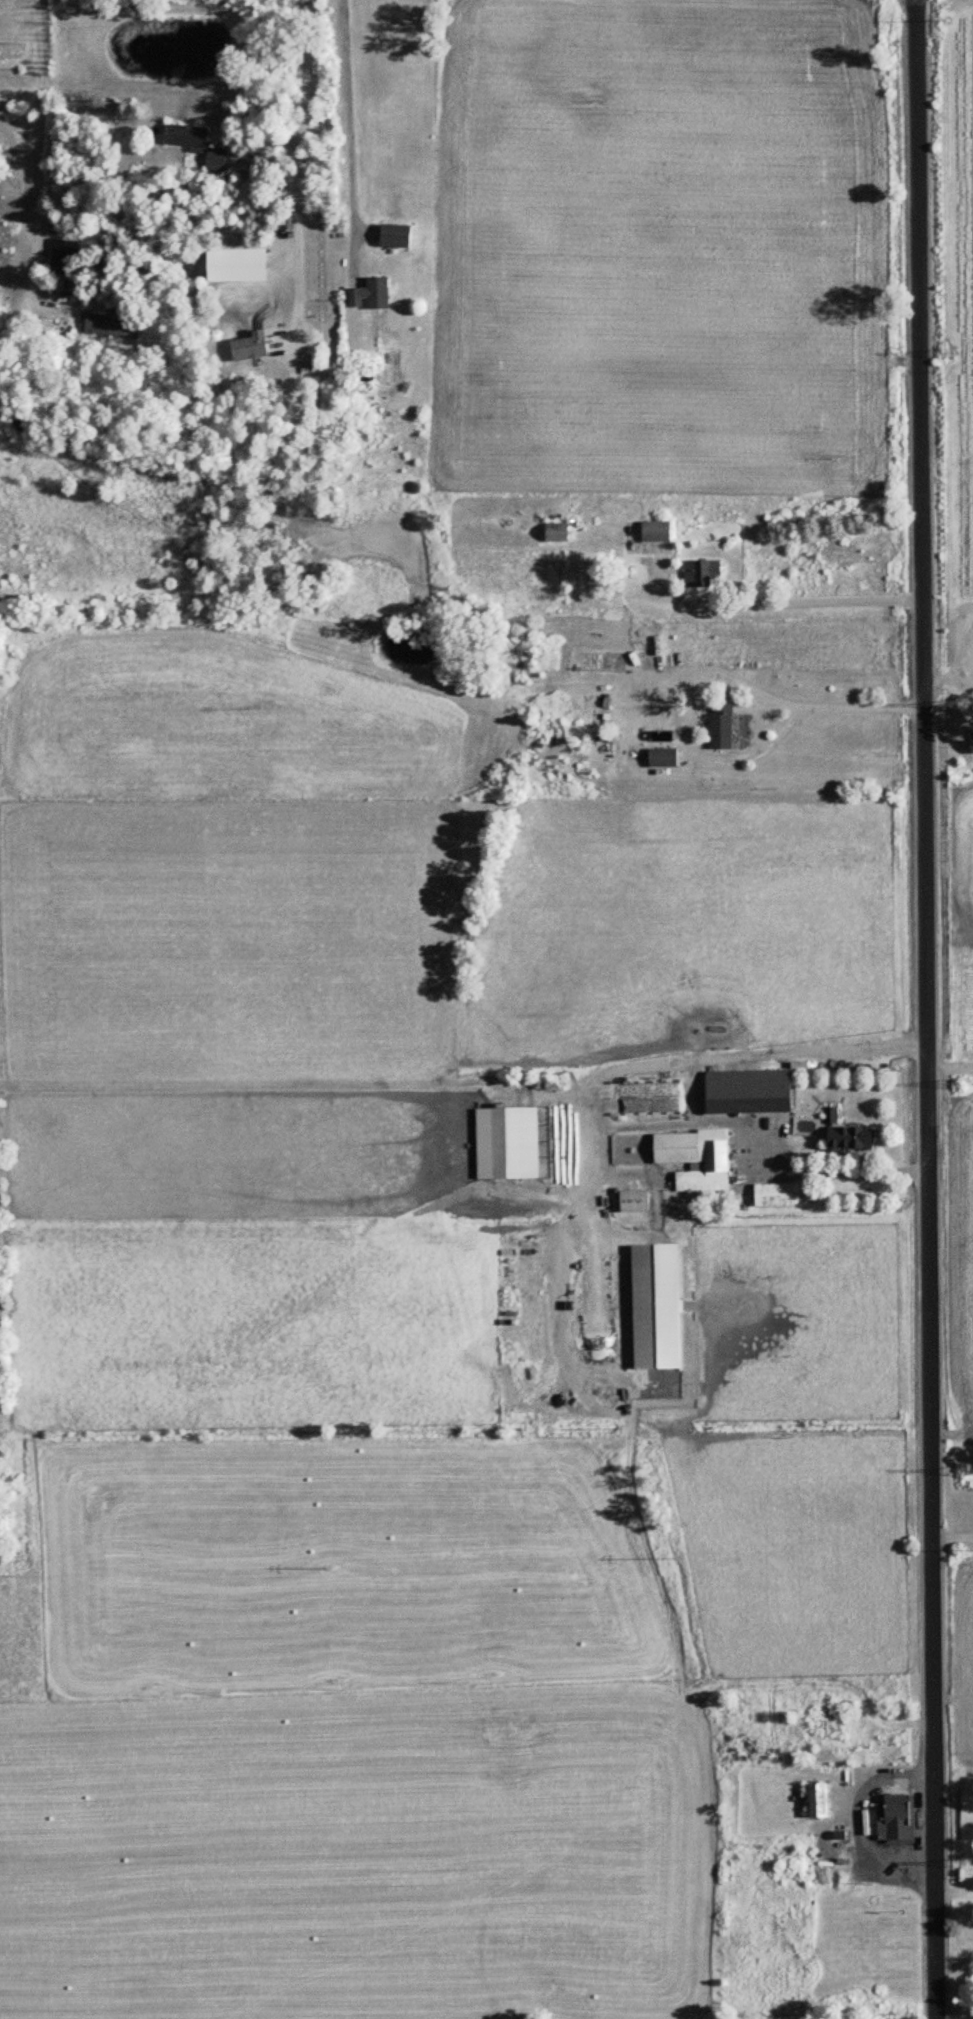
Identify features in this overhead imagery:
road: (351, 115)
building: (187, 137)
road: (39, 150)
building: (216, 160)
road: (299, 164)
road: (26, 199)
building: (395, 235)
building: (64, 256)
building: (370, 294)
building: (112, 326)
building: (250, 350)
power tower: (949, 354)
building: (656, 531)
building: (557, 534)
building: (704, 574)
road: (790, 601)
road: (834, 703)
power tower: (955, 704)
building: (722, 726)
building: (972, 741)
building: (663, 758)
road: (923, 1009)
road: (772, 1053)
power tower: (958, 1084)
building: (748, 1092)
building: (855, 1138)
building: (507, 1144)
building: (695, 1159)
road: (840, 1171)
building: (572, 1185)
building: (774, 1196)
building: (634, 1201)
building: (656, 1307)
power tower: (966, 1471)
building: (832, 1725)
building: (818, 1799)
road: (858, 1815)
building: (896, 1816)
power tower: (966, 1862)
road: (955, 1886)
road: (954, 2007)

